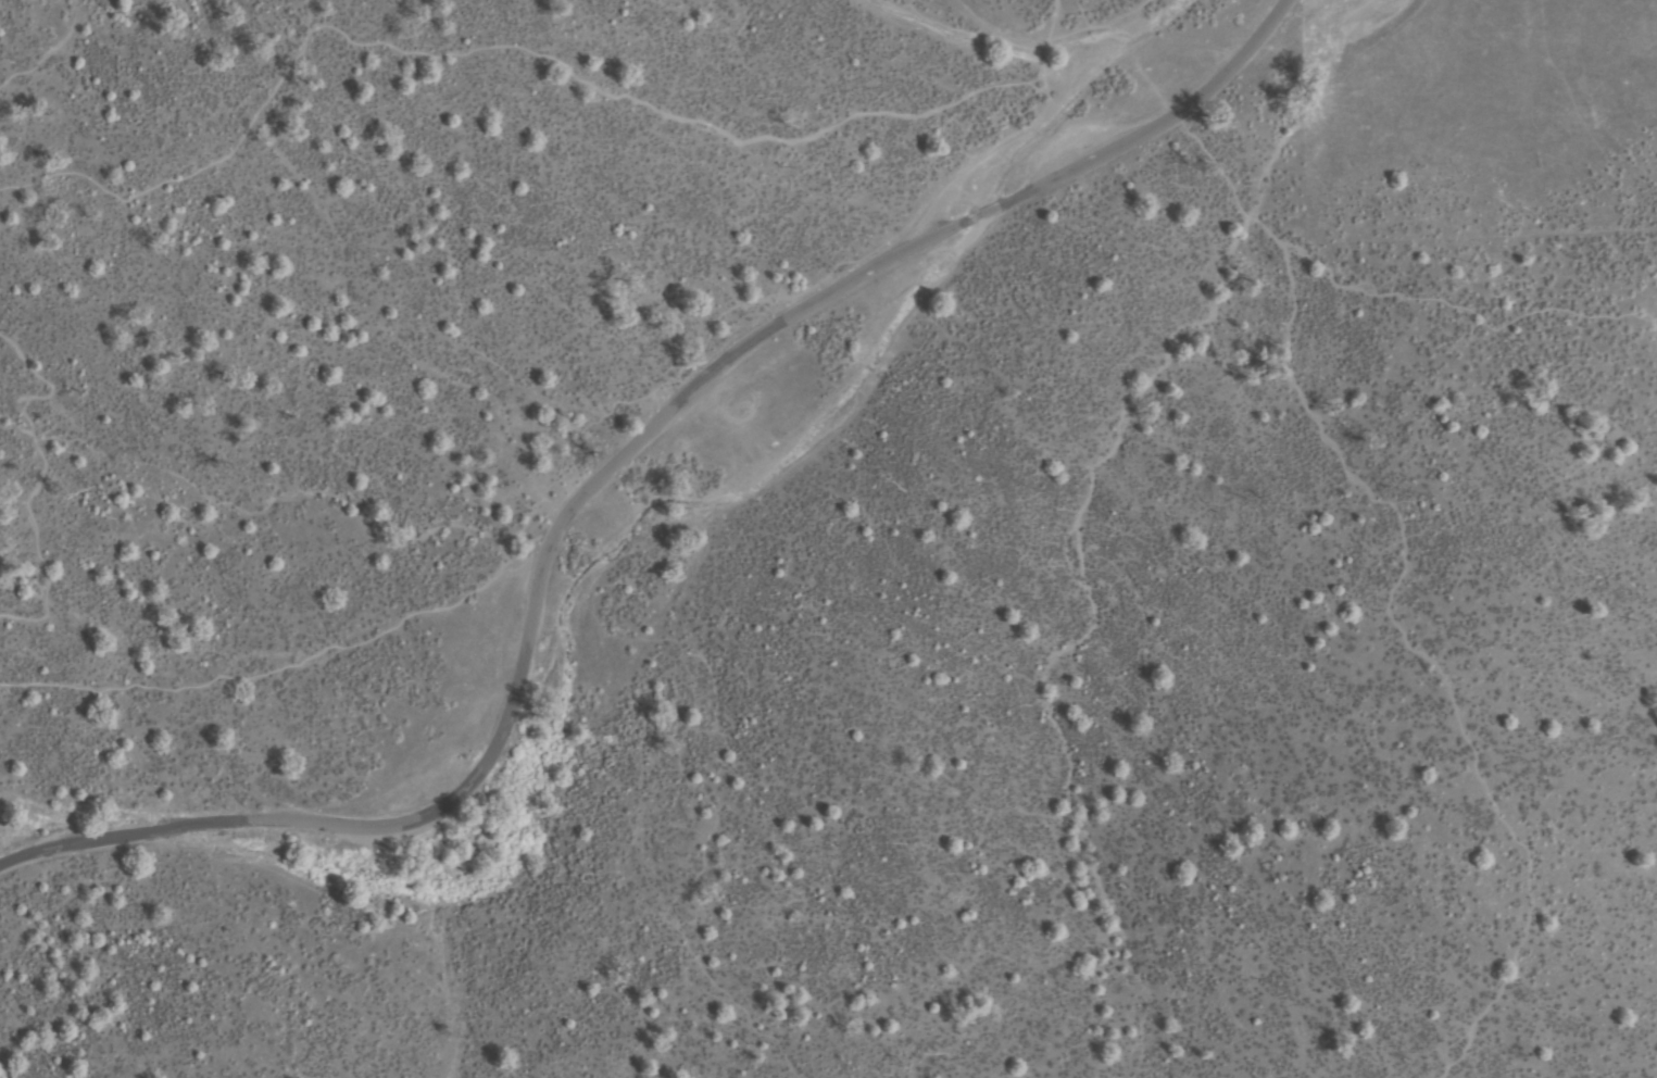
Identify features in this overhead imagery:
road: (592, 460)
road: (1360, 485)

